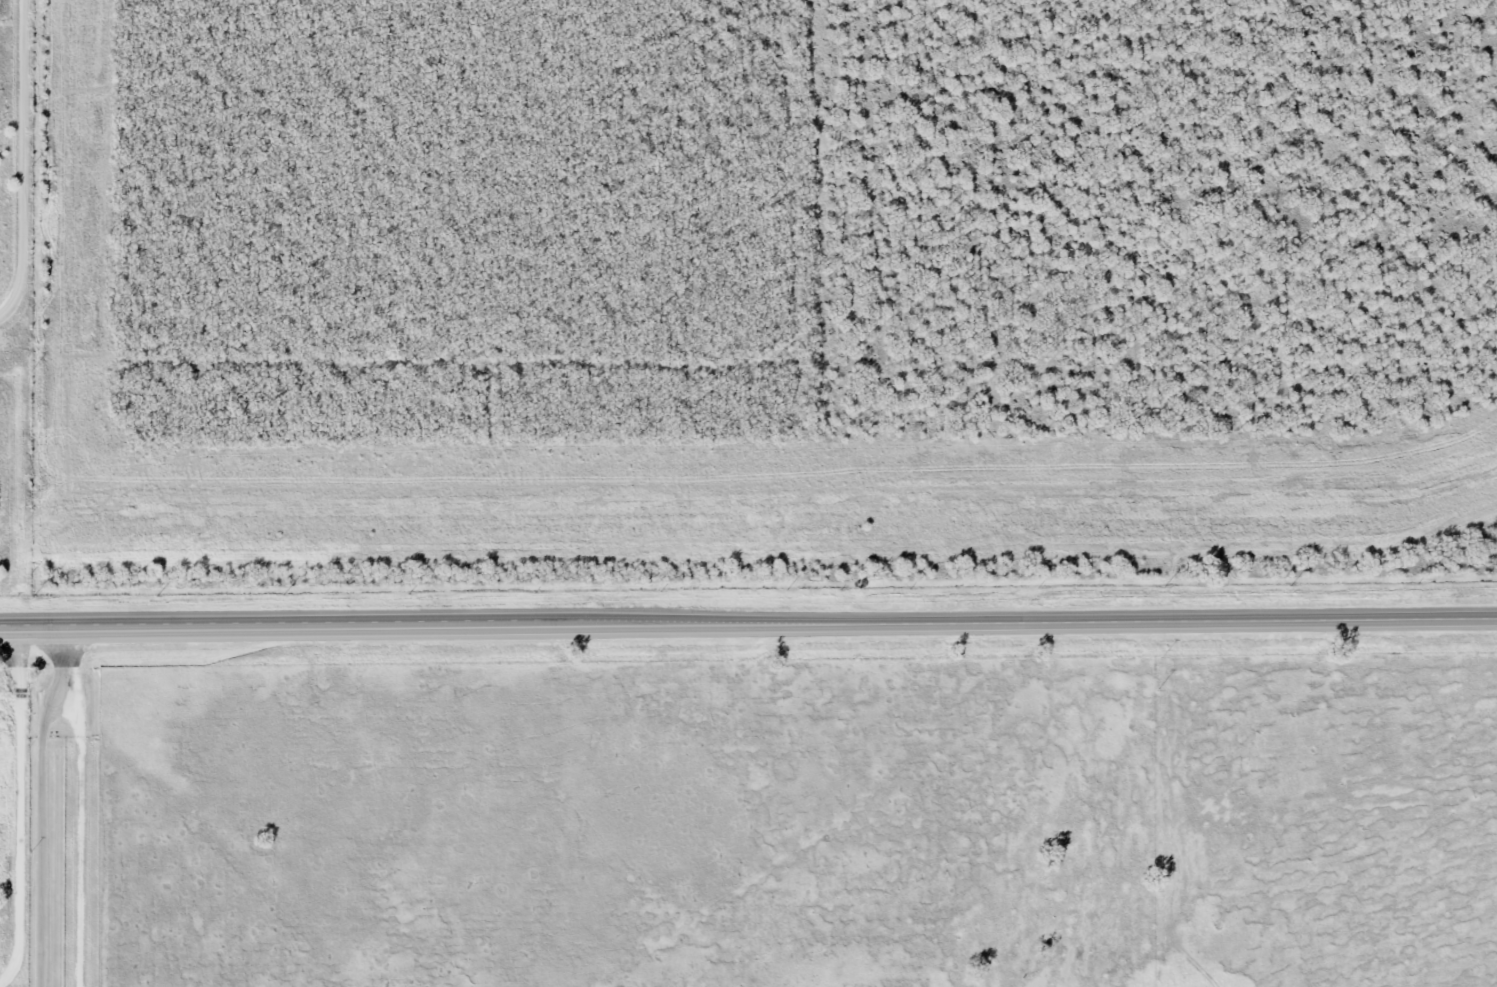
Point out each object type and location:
road: (21, 162)
road: (748, 627)
road: (40, 808)

